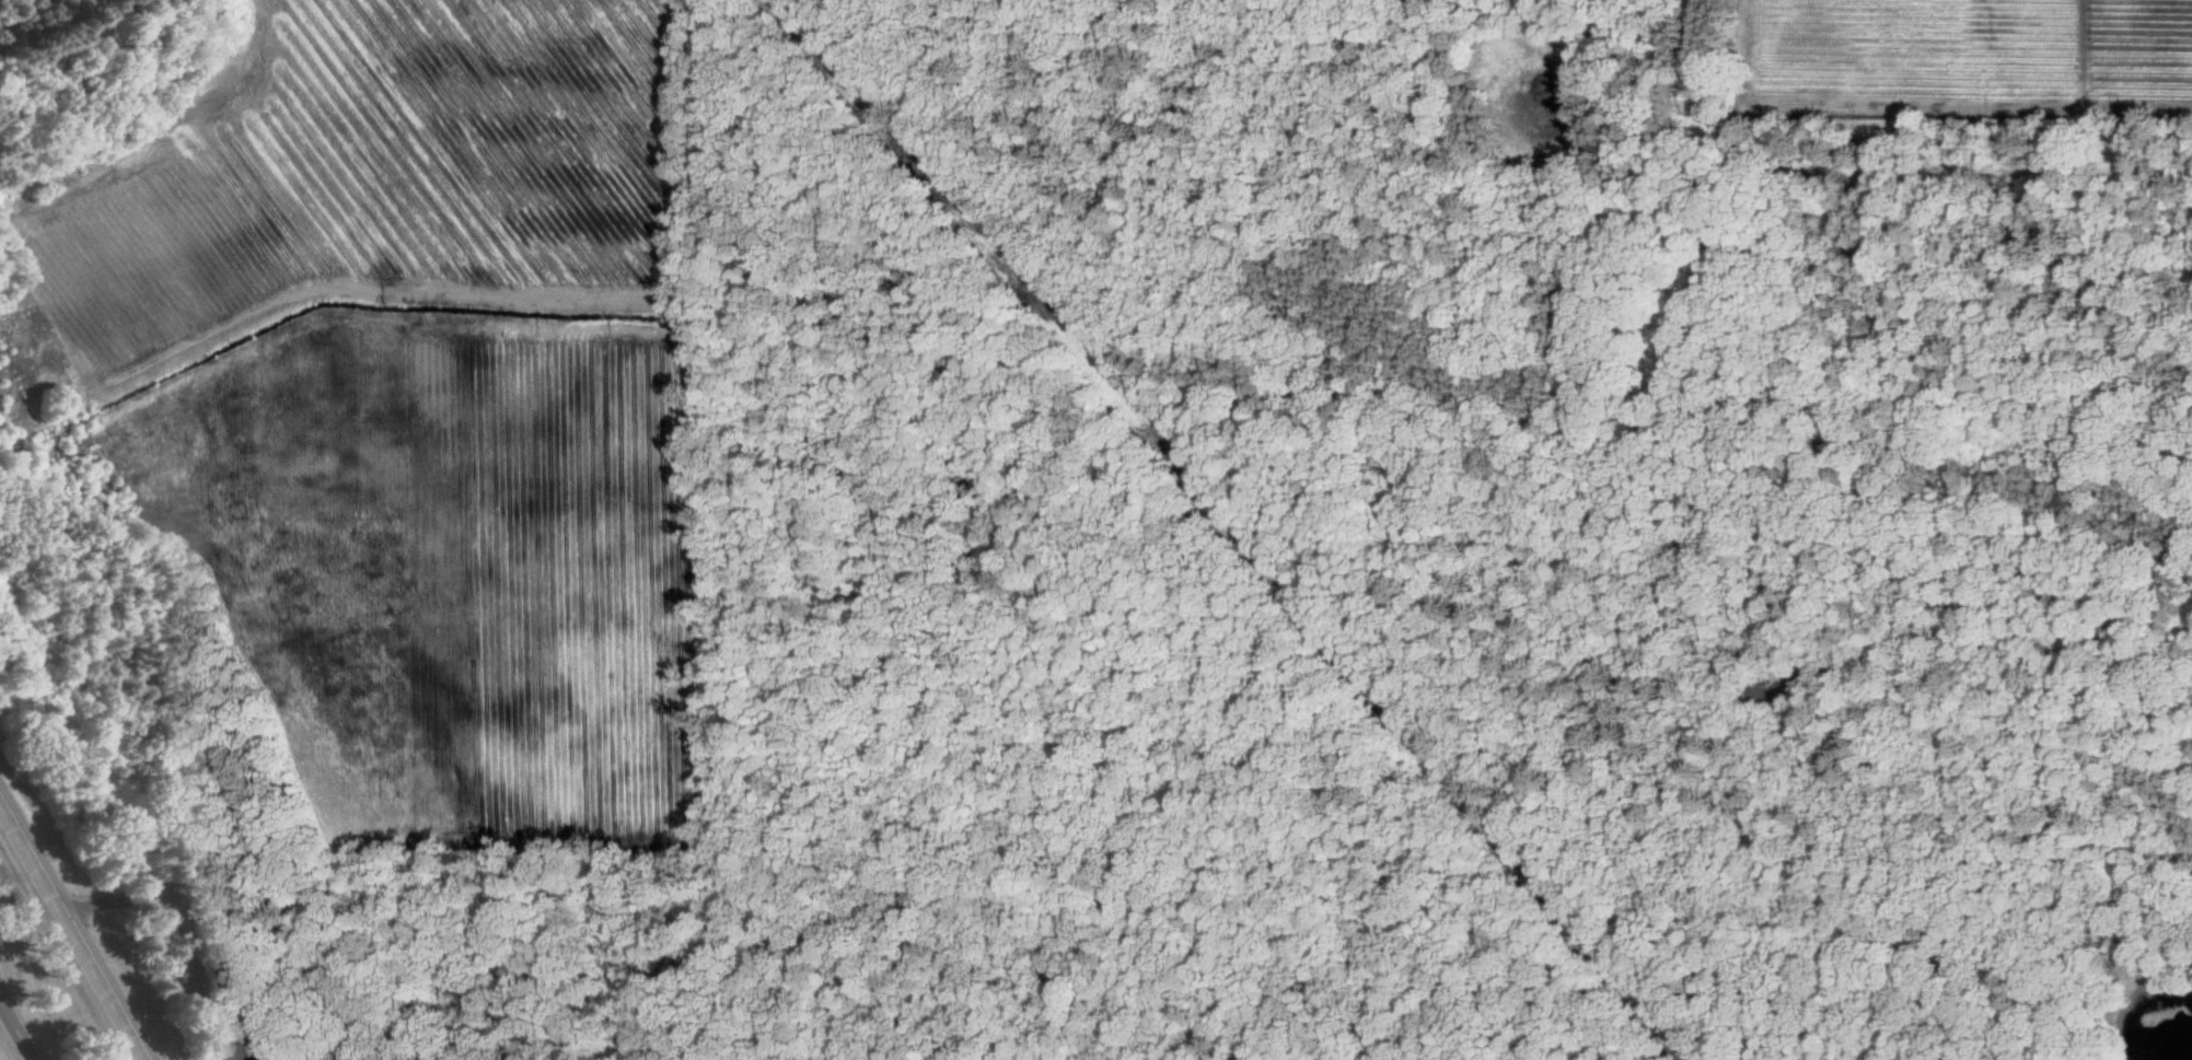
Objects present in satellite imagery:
road: (28, 859)
road: (28, 927)
road: (179, 934)
park: (178, 976)
road: (100, 986)
road: (16, 1030)

